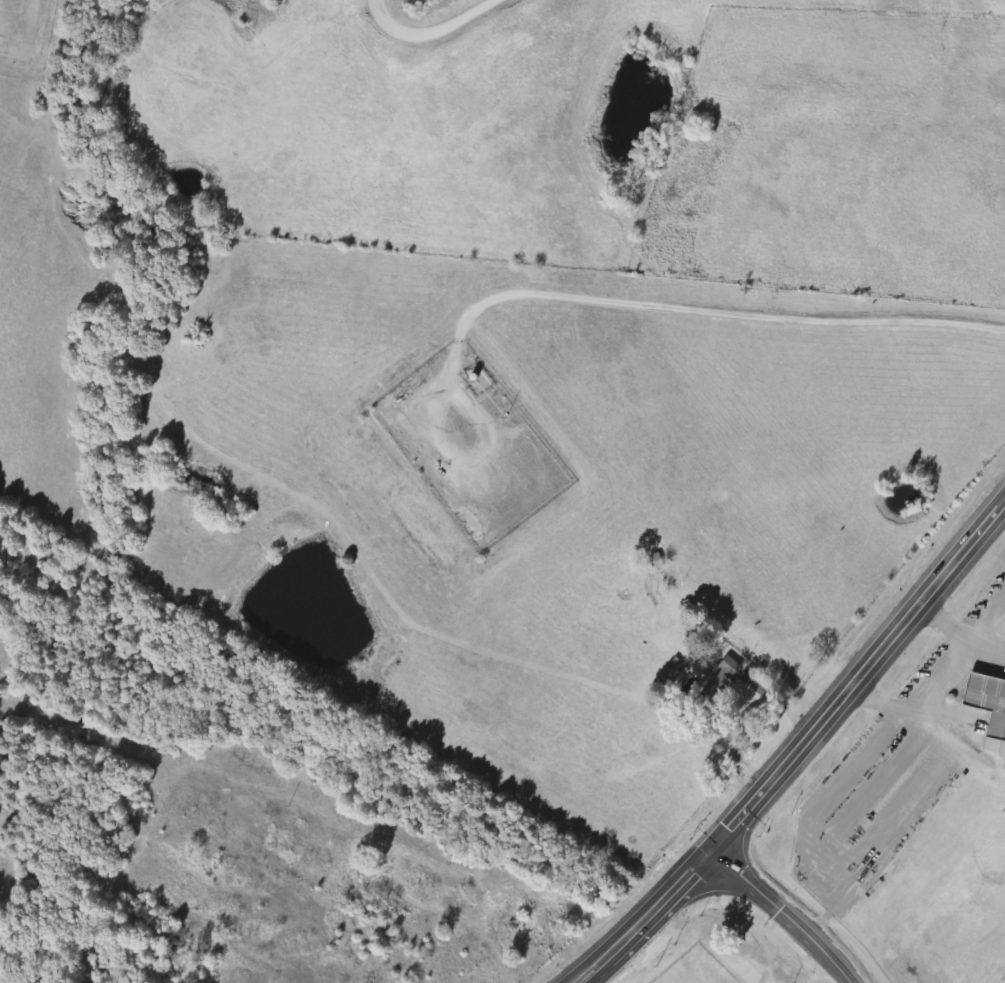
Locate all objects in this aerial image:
road: (858, 680)
building: (715, 691)
building: (988, 709)
road: (783, 917)
road: (637, 919)
road: (649, 919)

